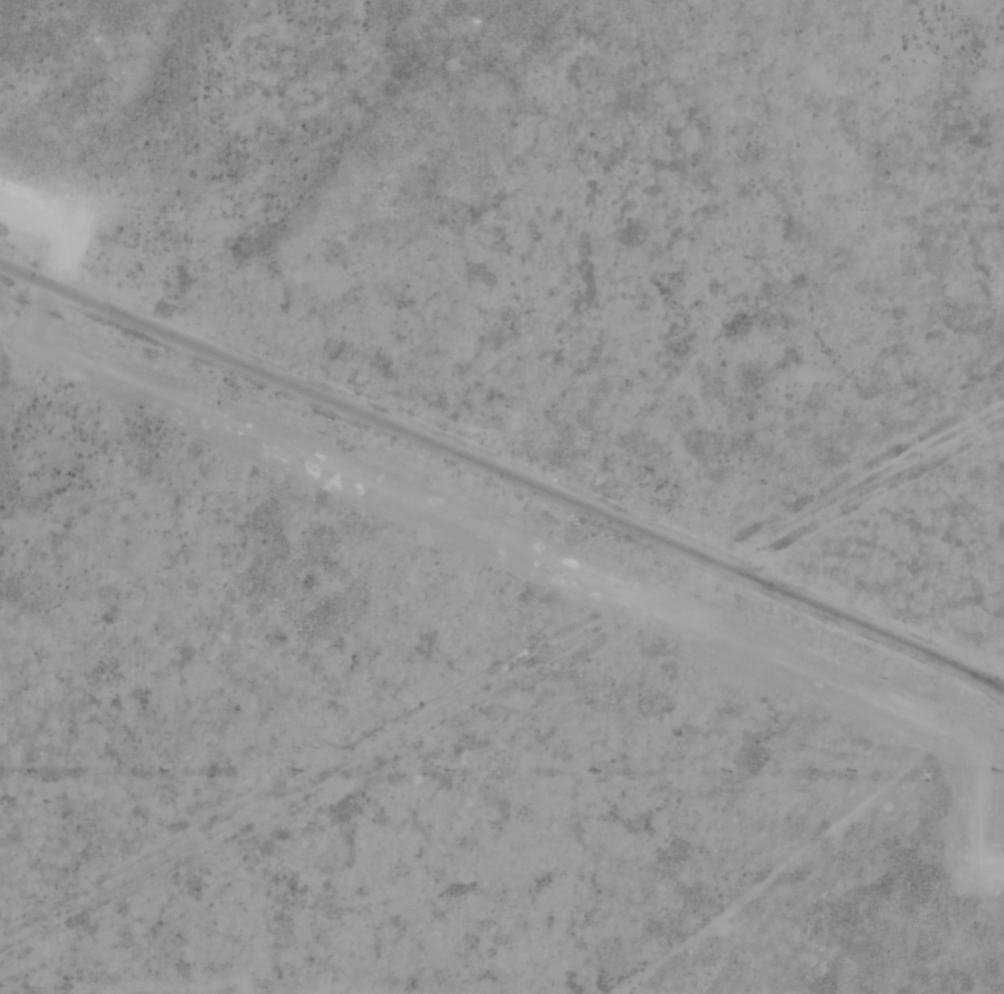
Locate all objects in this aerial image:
road: (502, 475)

